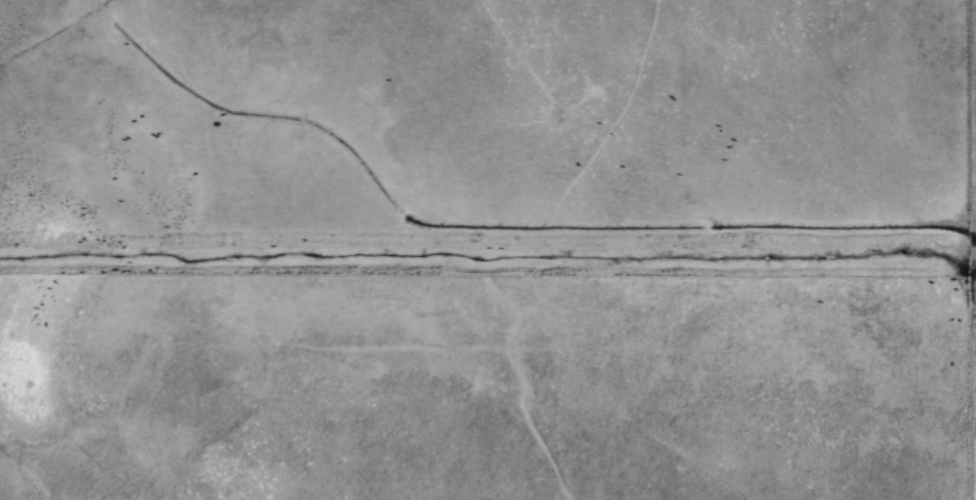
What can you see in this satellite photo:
crop: (488, 250)

